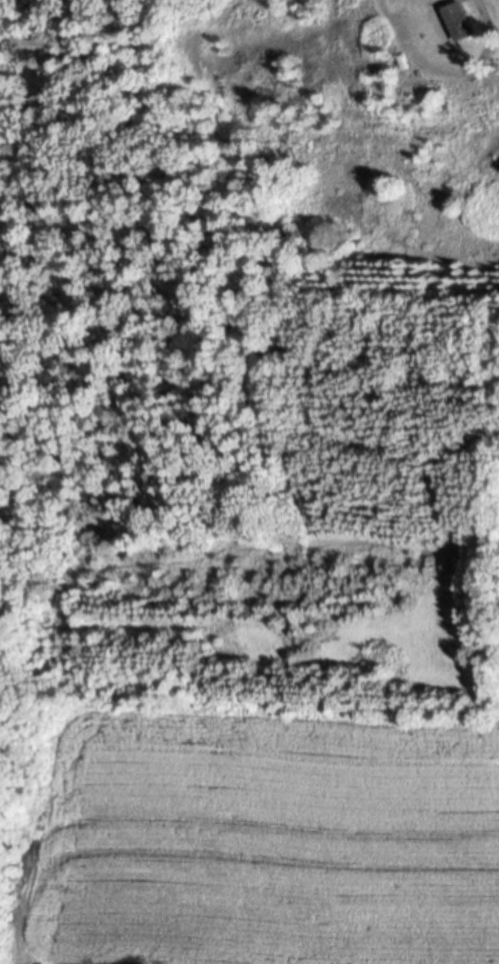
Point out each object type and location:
building: (457, 26)
building: (486, 88)

